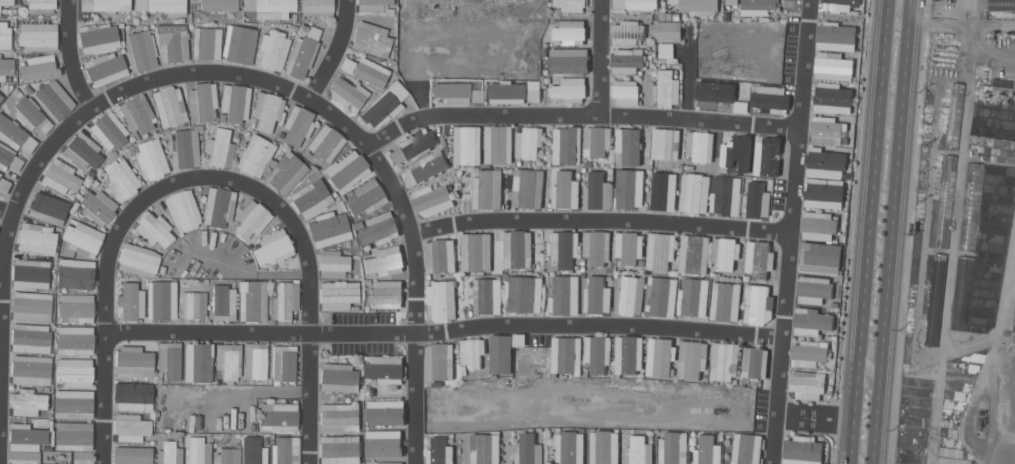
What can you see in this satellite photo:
building: (6, 2)
building: (731, 2)
building: (636, 4)
building: (41, 5)
building: (105, 5)
building: (217, 5)
building: (571, 5)
building: (758, 5)
building: (835, 5)
building: (1000, 5)
building: (163, 6)
building: (374, 6)
building: (697, 6)
building: (270, 7)
building: (317, 7)
building: (4, 10)
building: (569, 31)
building: (667, 31)
building: (628, 32)
building: (5, 36)
building: (38, 36)
building: (836, 36)
building: (99, 37)
building: (371, 39)
building: (173, 42)
building: (207, 43)
building: (240, 47)
building: (140, 50)
building: (273, 50)
building: (303, 52)
road: (334, 52)
building: (667, 52)
building: (0, 54)
road: (66, 56)
road: (599, 56)
building: (569, 61)
building: (627, 61)
building: (347, 64)
building: (43, 65)
building: (833, 67)
building: (6, 68)
building: (105, 68)
building: (370, 72)
road: (246, 78)
road: (688, 84)
building: (999, 87)
building: (667, 88)
building: (569, 89)
building: (460, 91)
building: (515, 91)
building: (626, 92)
building: (716, 92)
building: (348, 95)
building: (1, 97)
building: (833, 98)
building: (770, 99)
building: (54, 100)
building: (203, 102)
building: (236, 102)
building: (741, 104)
building: (385, 105)
building: (170, 106)
building: (267, 110)
building: (138, 113)
building: (31, 114)
road: (480, 114)
building: (954, 117)
road: (700, 120)
building: (298, 125)
building: (109, 130)
building: (828, 131)
building: (14, 134)
building: (596, 141)
building: (326, 143)
building: (528, 143)
building: (414, 145)
building: (498, 145)
building: (664, 145)
building: (467, 146)
building: (566, 146)
building: (699, 146)
building: (631, 147)
building: (185, 148)
building: (220, 148)
building: (734, 149)
building: (83, 150)
building: (256, 154)
building: (769, 154)
building: (9, 158)
building: (151, 159)
building: (825, 163)
building: (425, 168)
building: (348, 170)
building: (286, 172)
building: (0, 173)
building: (0, 175)
building: (61, 177)
road: (208, 177)
building: (121, 178)
building: (4, 184)
building: (527, 188)
building: (629, 189)
building: (487, 190)
building: (565, 191)
building: (596, 192)
building: (662, 193)
building: (694, 193)
building: (824, 193)
building: (726, 195)
building: (311, 197)
building: (366, 197)
building: (431, 200)
building: (756, 201)
building: (945, 201)
building: (219, 206)
building: (47, 207)
building: (98, 207)
building: (971, 207)
building: (183, 210)
road: (5, 212)
building: (252, 219)
road: (601, 222)
building: (819, 226)
building: (329, 228)
building: (155, 229)
building: (378, 229)
road: (868, 231)
road: (793, 232)
road: (892, 232)
building: (36, 238)
building: (83, 238)
building: (596, 247)
building: (273, 248)
building: (628, 248)
building: (517, 249)
building: (564, 249)
building: (660, 251)
building: (475, 252)
building: (725, 253)
building: (694, 255)
building: (439, 256)
building: (759, 259)
building: (820, 259)
building: (138, 260)
building: (385, 261)
building: (333, 263)
building: (31, 273)
building: (76, 277)
building: (814, 289)
building: (962, 293)
building: (386, 294)
building: (523, 294)
building: (339, 295)
building: (486, 296)
building: (564, 296)
building: (597, 296)
building: (630, 296)
building: (662, 297)
building: (163, 299)
building: (442, 299)
building: (935, 299)
building: (253, 300)
building: (285, 300)
building: (131, 301)
building: (725, 301)
building: (224, 302)
building: (193, 304)
building: (694, 304)
building: (758, 304)
building: (32, 306)
building: (76, 308)
building: (811, 321)
road: (599, 327)
road: (206, 331)
road: (362, 331)
building: (30, 338)
building: (75, 339)
building: (518, 340)
building: (471, 353)
building: (597, 353)
building: (500, 354)
building: (808, 354)
building: (566, 355)
building: (628, 355)
building: (659, 356)
building: (692, 359)
building: (134, 360)
building: (229, 360)
building: (256, 360)
building: (169, 361)
building: (439, 361)
building: (724, 361)
building: (199, 362)
building: (754, 363)
building: (284, 364)
building: (31, 369)
building: (385, 369)
building: (75, 371)
building: (339, 377)
building: (807, 384)
building: (134, 395)
building: (28, 402)
building: (74, 403)
building: (384, 413)
building: (279, 415)
building: (339, 417)
petroleum well: (980, 420)
building: (131, 427)
building: (73, 435)
building: (26, 437)
building: (387, 443)
building: (569, 447)
building: (603, 447)
building: (485, 448)
building: (672, 448)
building: (339, 449)
building: (528, 449)
building: (746, 449)
building: (199, 450)
building: (254, 450)
building: (638, 450)
building: (706, 450)
building: (803, 450)
building: (284, 451)
building: (440, 451)
building: (170, 453)
building: (133, 455)
building: (228, 456)
building: (385, 463)

